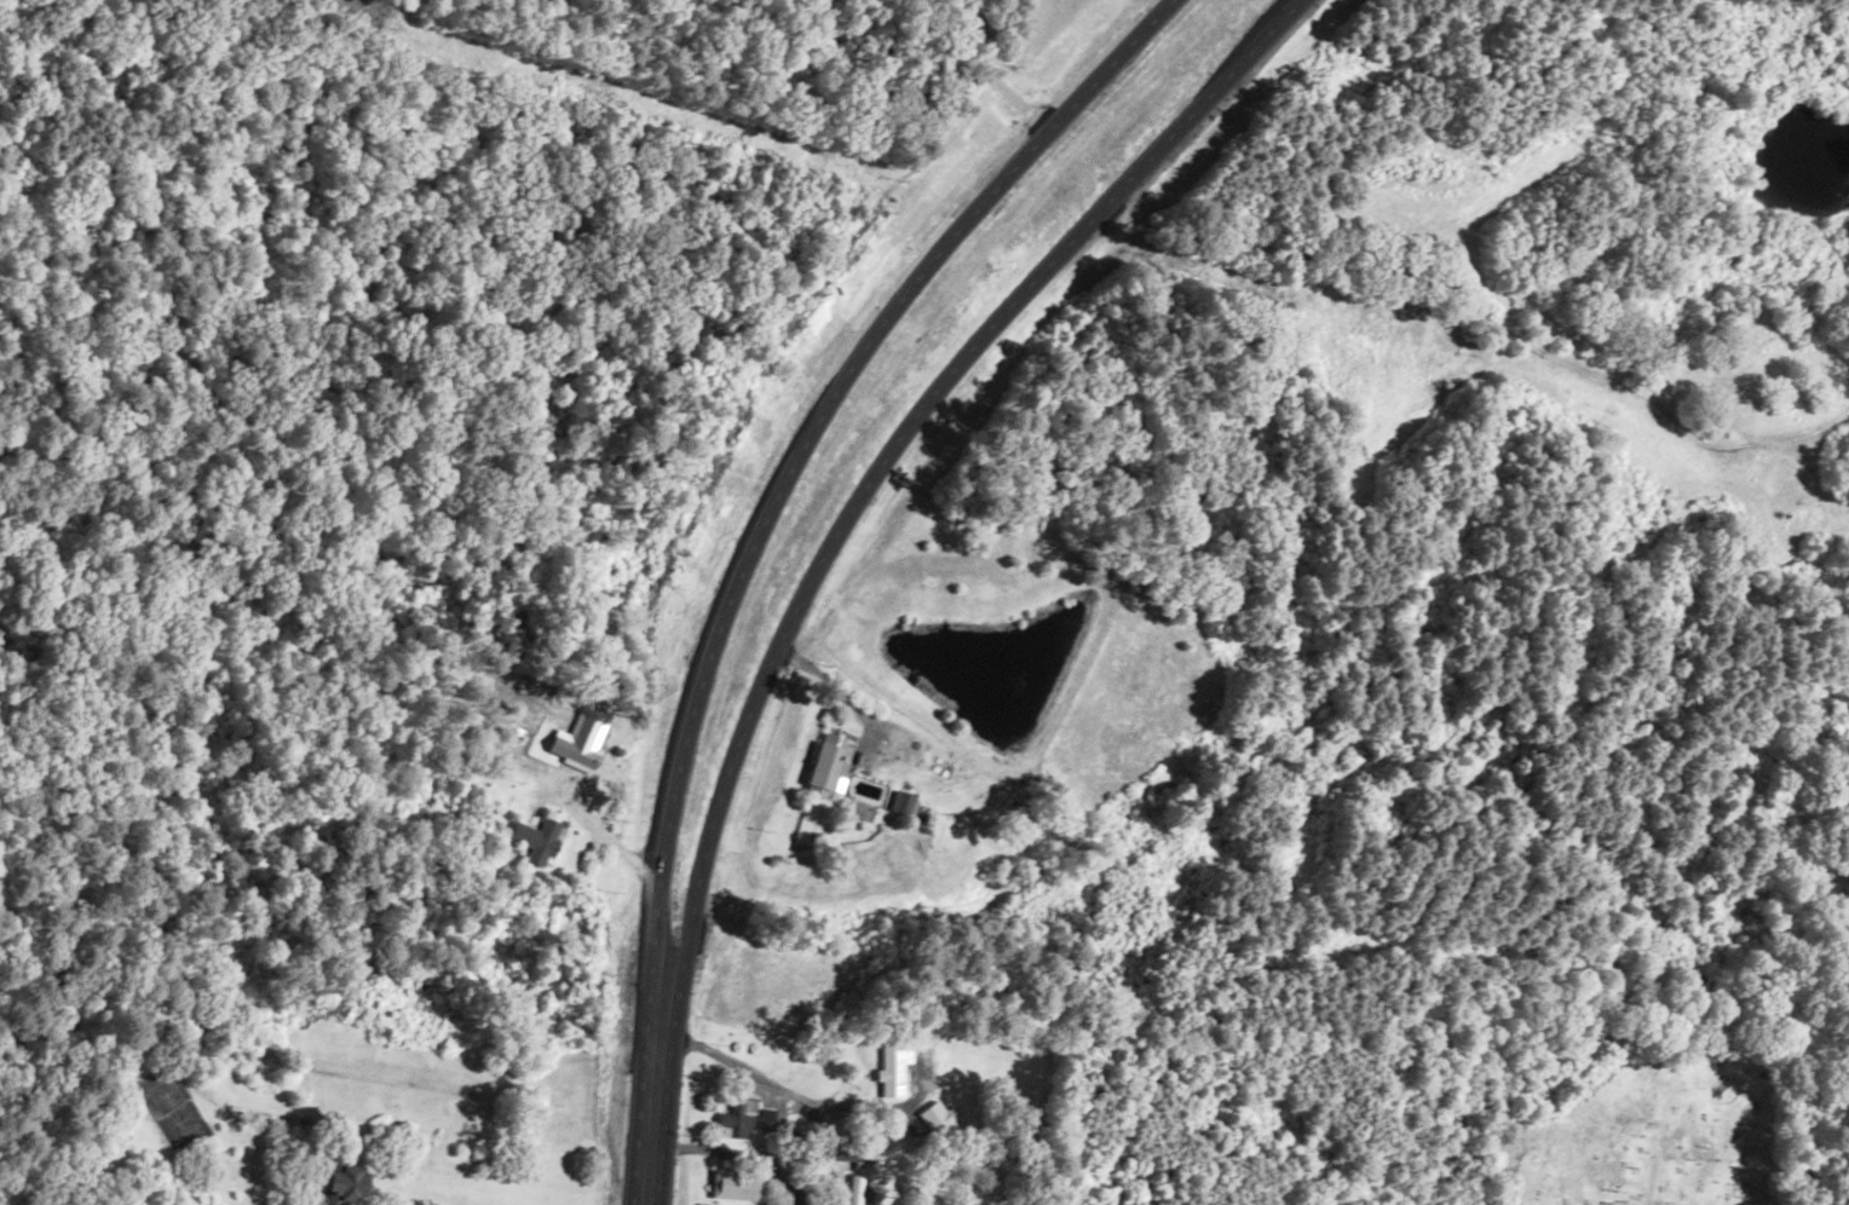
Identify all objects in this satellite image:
road: (1438, 181)
road: (853, 505)
road: (768, 507)
building: (542, 727)
building: (823, 766)
building: (941, 785)
building: (898, 801)
building: (534, 838)
building: (743, 1122)
road: (759, 1149)
road: (646, 1172)
building: (345, 1183)
building: (737, 1184)

